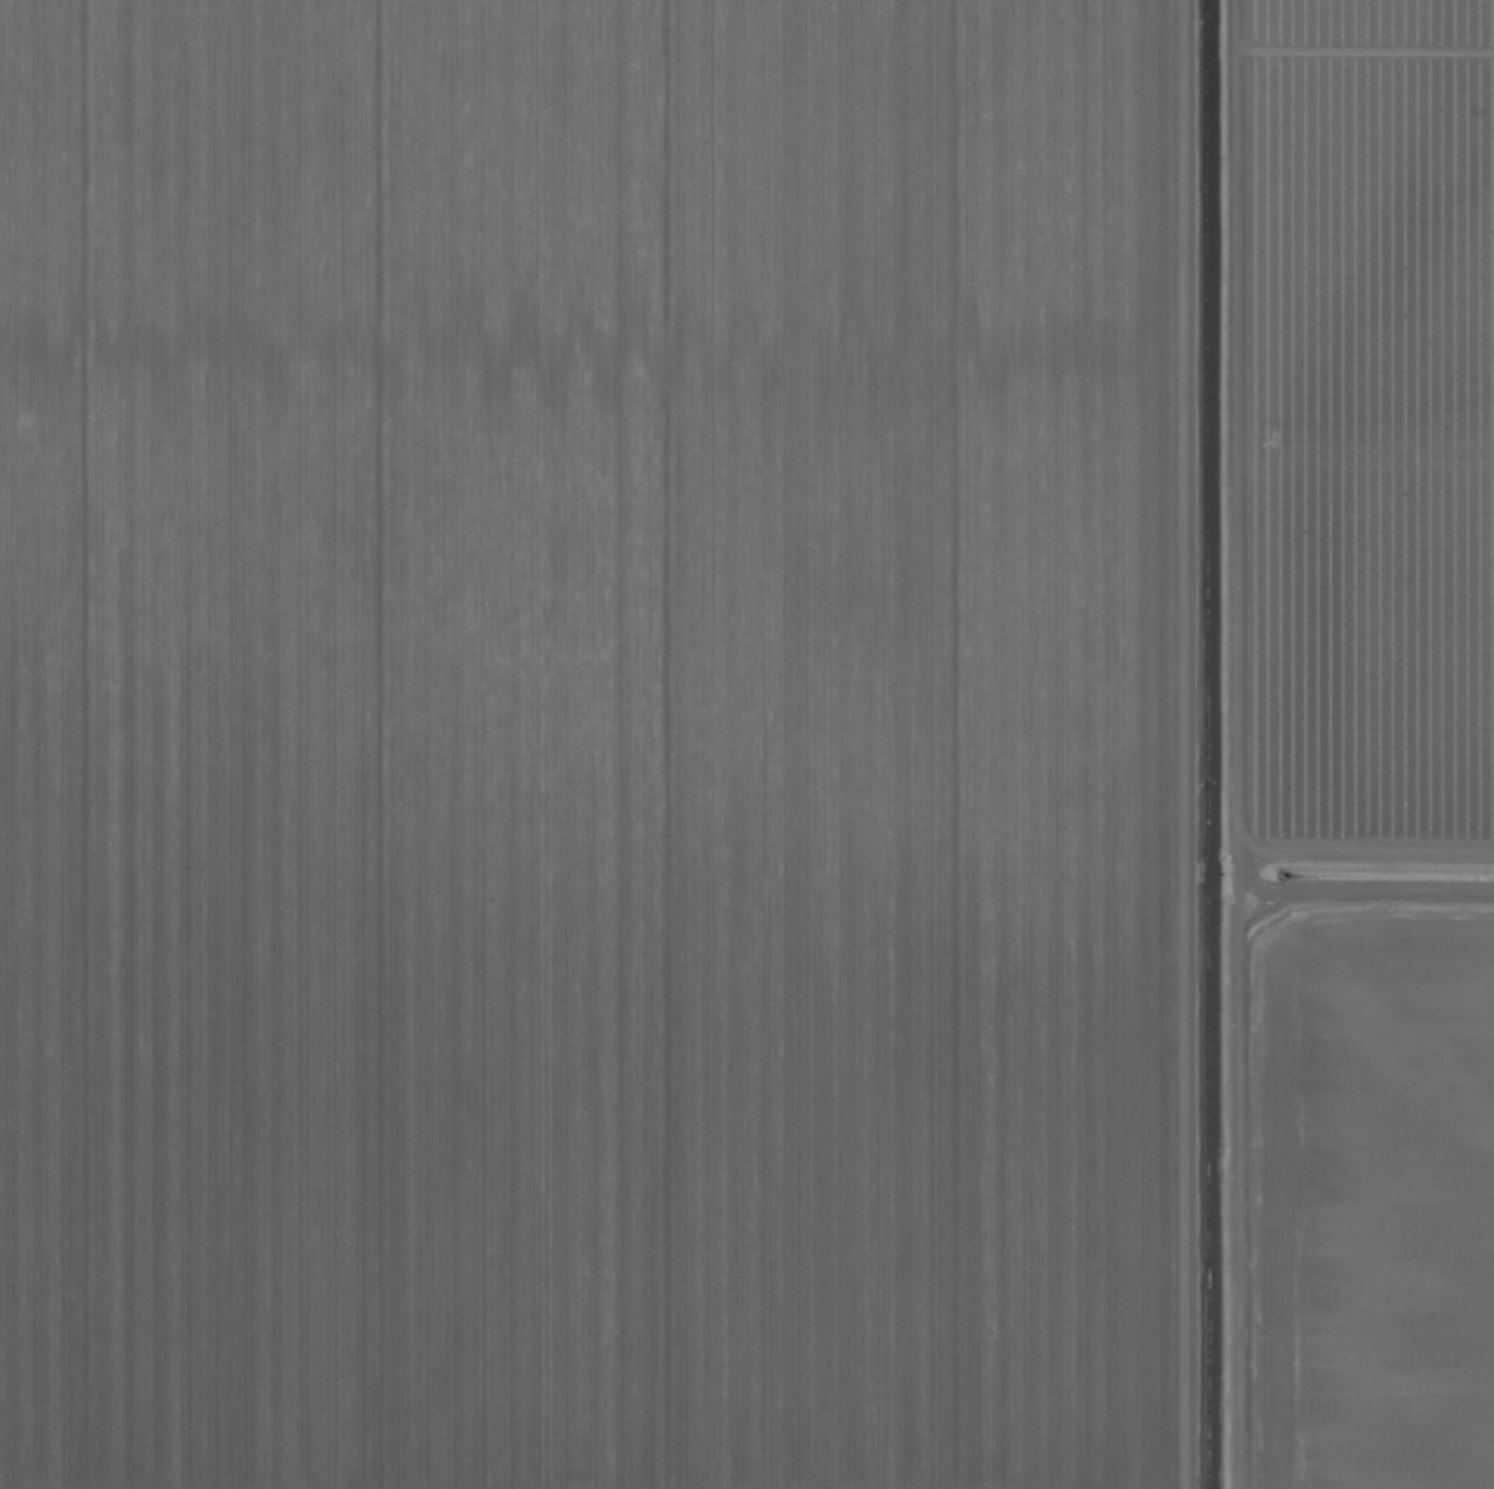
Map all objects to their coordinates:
crop: (747, 744)
road: (1192, 744)

